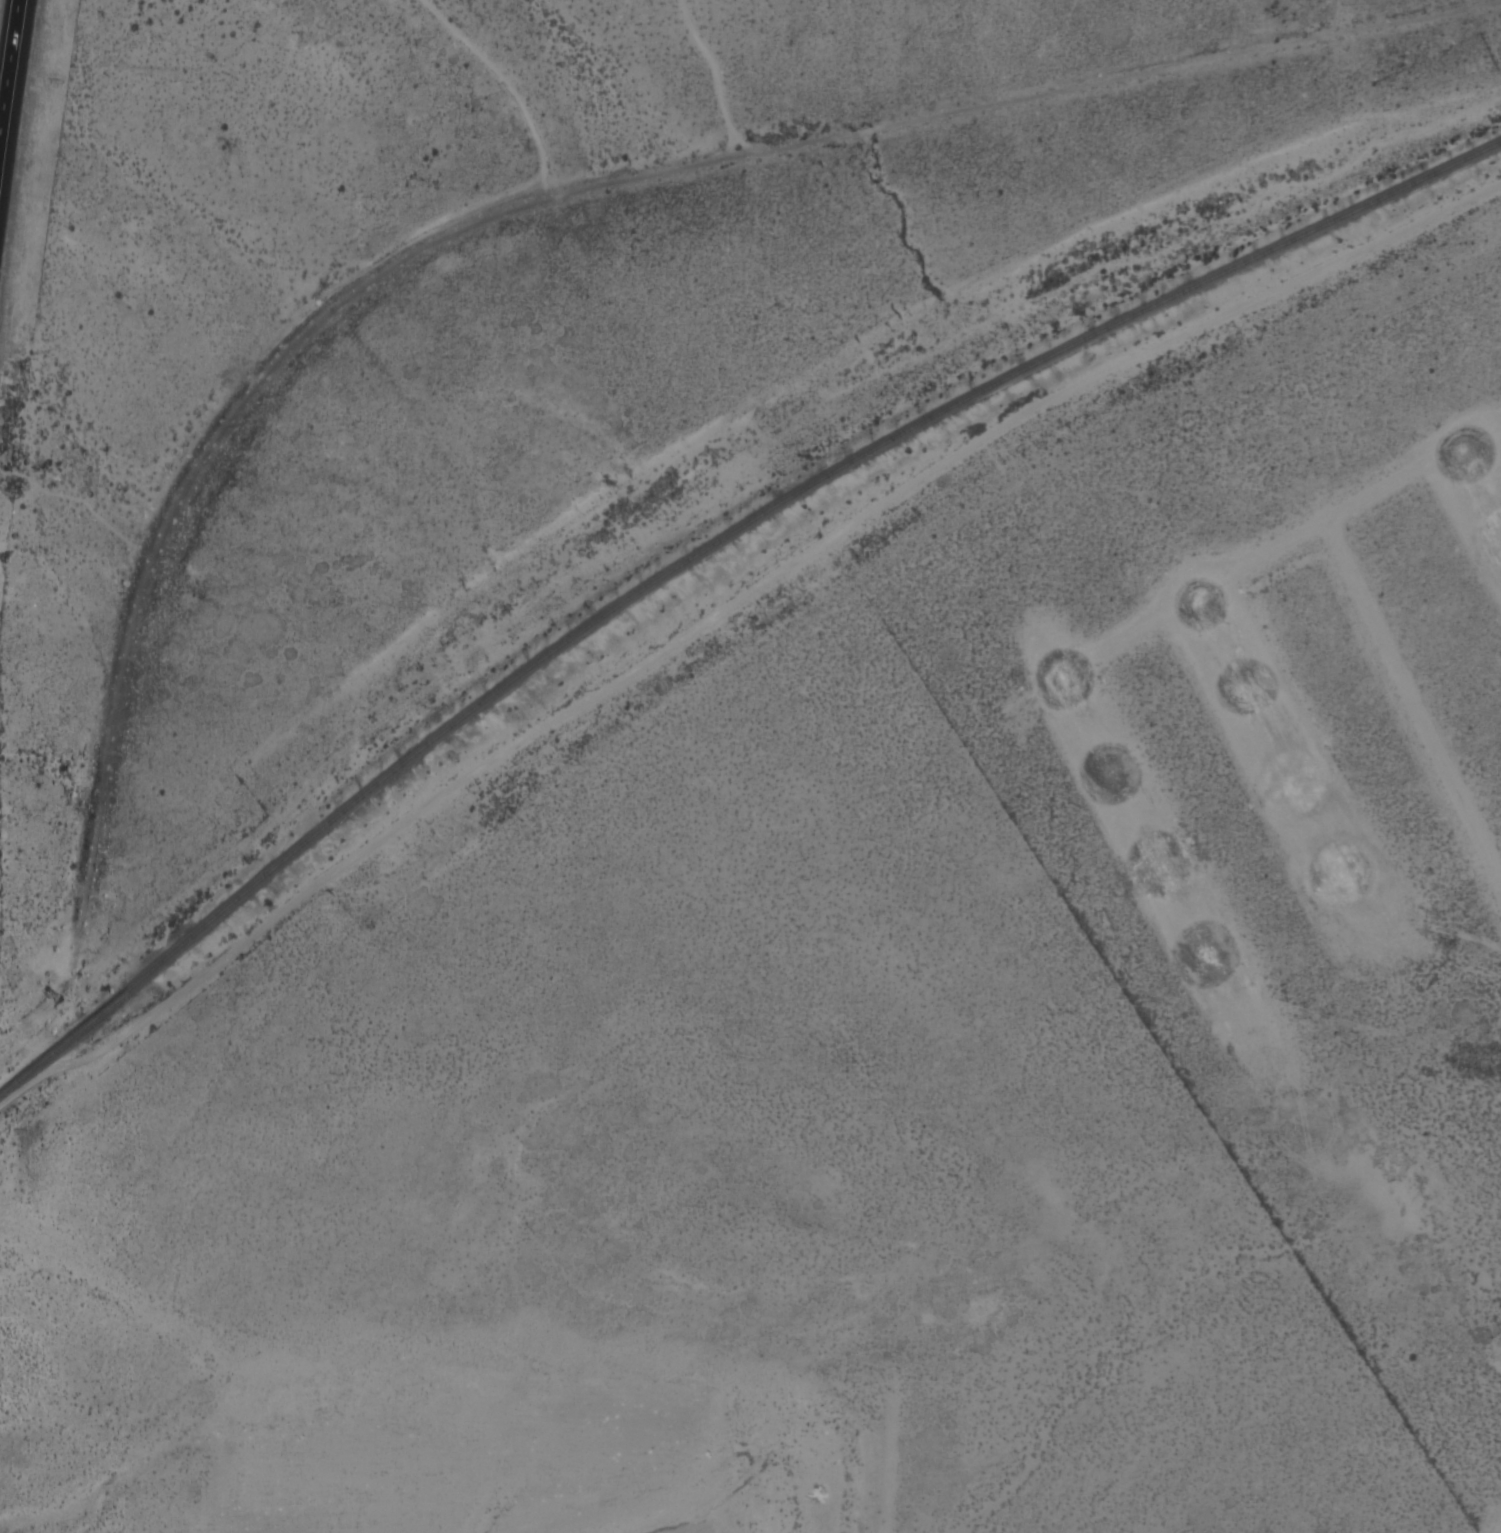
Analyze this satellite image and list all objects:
road: (13, 95)
railway: (706, 549)
railway: (56, 1068)
quarry: (423, 1441)

